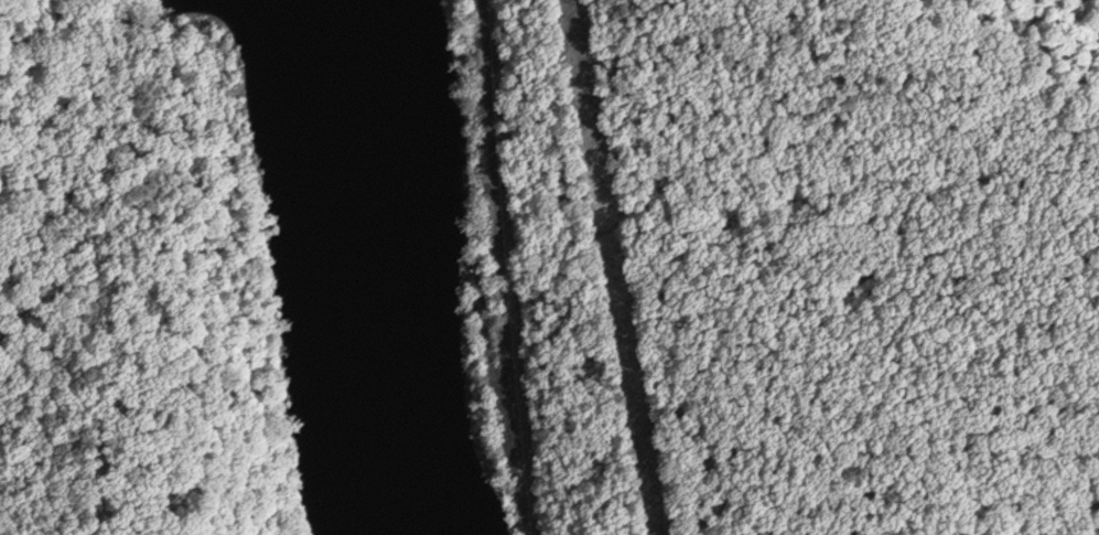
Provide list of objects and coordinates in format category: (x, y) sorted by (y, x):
road: (503, 267)
park: (249, 270)
park: (797, 278)

